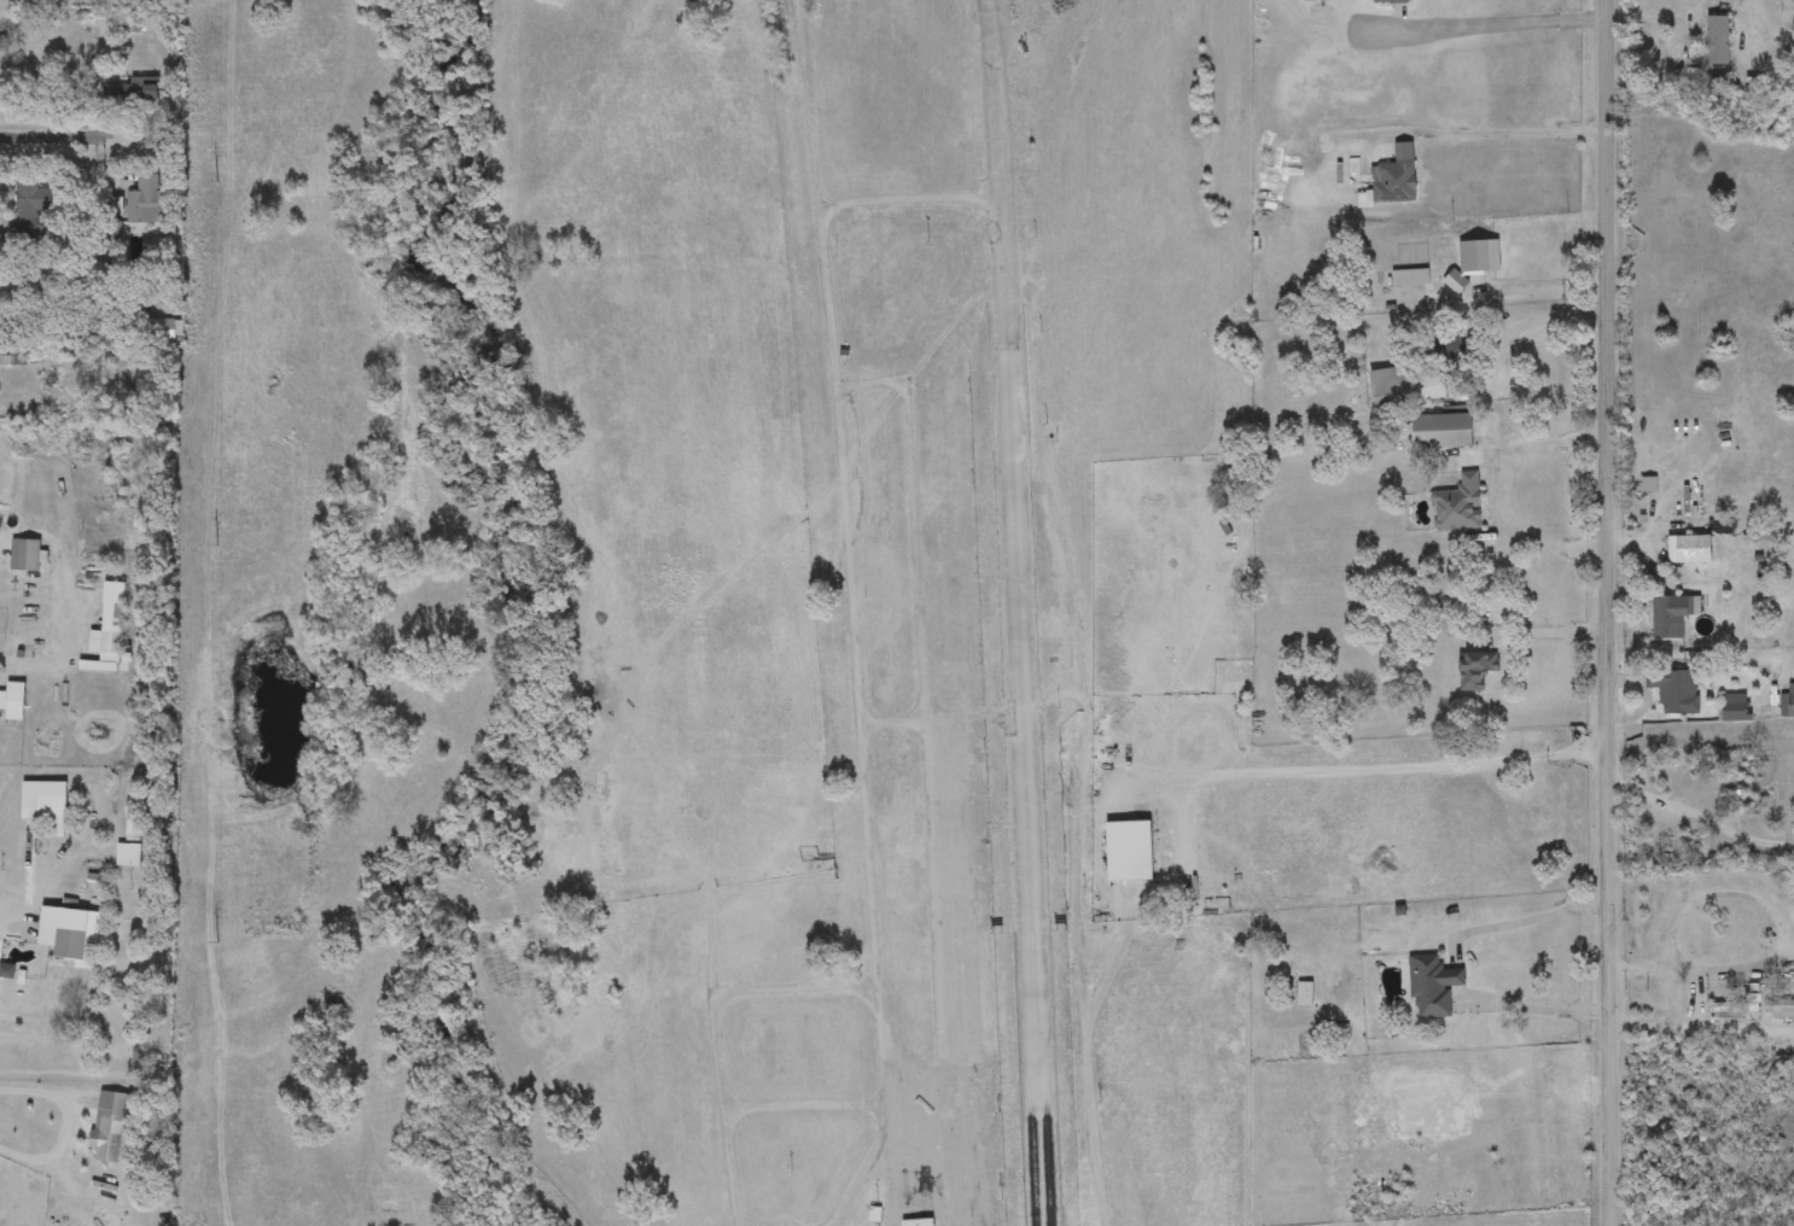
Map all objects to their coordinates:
building: (1390, 2)
road: (1503, 24)
building: (1717, 40)
building: (132, 94)
road: (1006, 112)
road: (1499, 133)
road: (51, 136)
building: (1394, 177)
building: (147, 202)
road: (921, 202)
building: (30, 208)
building: (1478, 256)
building: (1404, 387)
building: (1441, 432)
road: (1511, 491)
building: (1458, 506)
road: (854, 548)
building: (1694, 549)
building: (24, 555)
road: (52, 607)
road: (1610, 612)
building: (1671, 618)
building: (107, 637)
building: (1475, 670)
building: (1676, 691)
building: (11, 701)
building: (1792, 706)
building: (1735, 708)
road: (1032, 726)
building: (45, 804)
road: (1192, 813)
road: (1700, 818)
building: (1129, 851)
building: (1650, 851)
road: (1, 917)
building: (1699, 929)
building: (69, 934)
building: (1746, 941)
road: (1454, 964)
building: (1432, 986)
building: (1654, 1008)
building: (1732, 1008)
building: (1778, 1008)
road: (1700, 1026)
road: (729, 1034)
road: (77, 1123)
building: (107, 1127)
road: (901, 1127)
road: (955, 1135)
road: (867, 1183)
road: (903, 1191)
building: (927, 1225)

